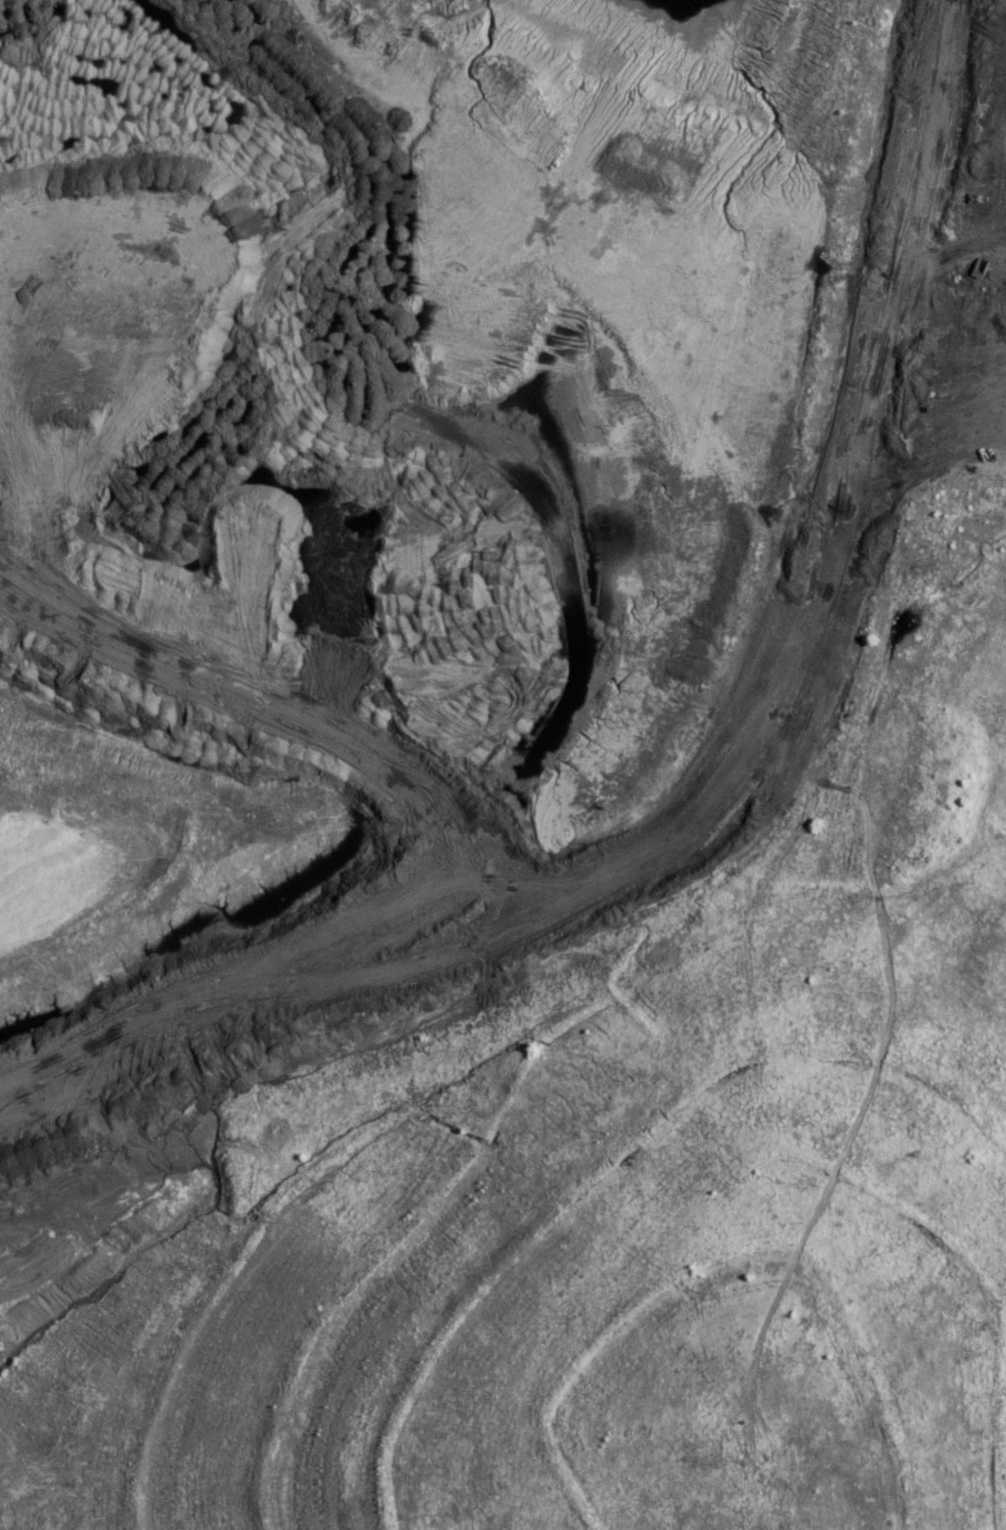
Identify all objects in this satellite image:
road: (792, 550)
quarry: (587, 901)

